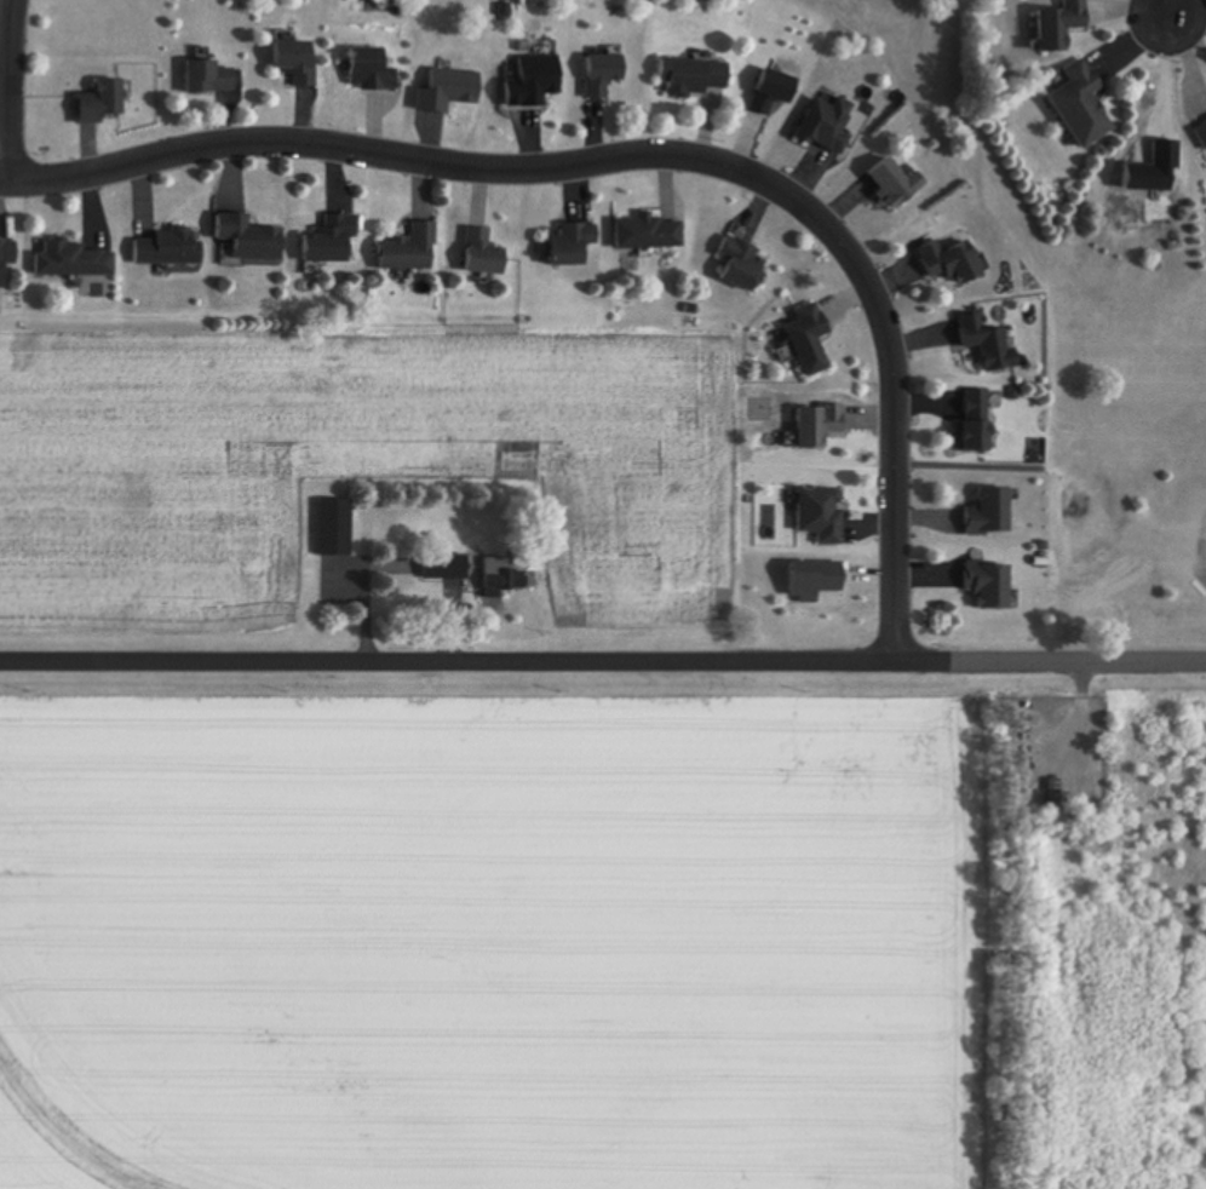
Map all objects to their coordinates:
road: (1166, 8)
building: (1061, 25)
building: (300, 62)
building: (375, 69)
building: (605, 74)
building: (695, 76)
building: (213, 77)
building: (541, 79)
road: (11, 90)
building: (103, 103)
building: (1084, 104)
building: (829, 125)
building: (1201, 133)
road: (644, 155)
building: (896, 182)
building: (651, 232)
building: (253, 239)
building: (334, 241)
building: (575, 245)
building: (171, 248)
building: (413, 249)
building: (487, 252)
building: (7, 260)
building: (75, 262)
building: (951, 262)
building: (743, 264)
park: (1045, 338)
building: (812, 340)
building: (990, 344)
building: (980, 420)
building: (822, 427)
crop: (355, 473)
building: (992, 512)
building: (823, 515)
building: (337, 527)
building: (446, 568)
building: (504, 576)
building: (993, 585)
road: (447, 660)
road: (1050, 660)
crop: (603, 930)

